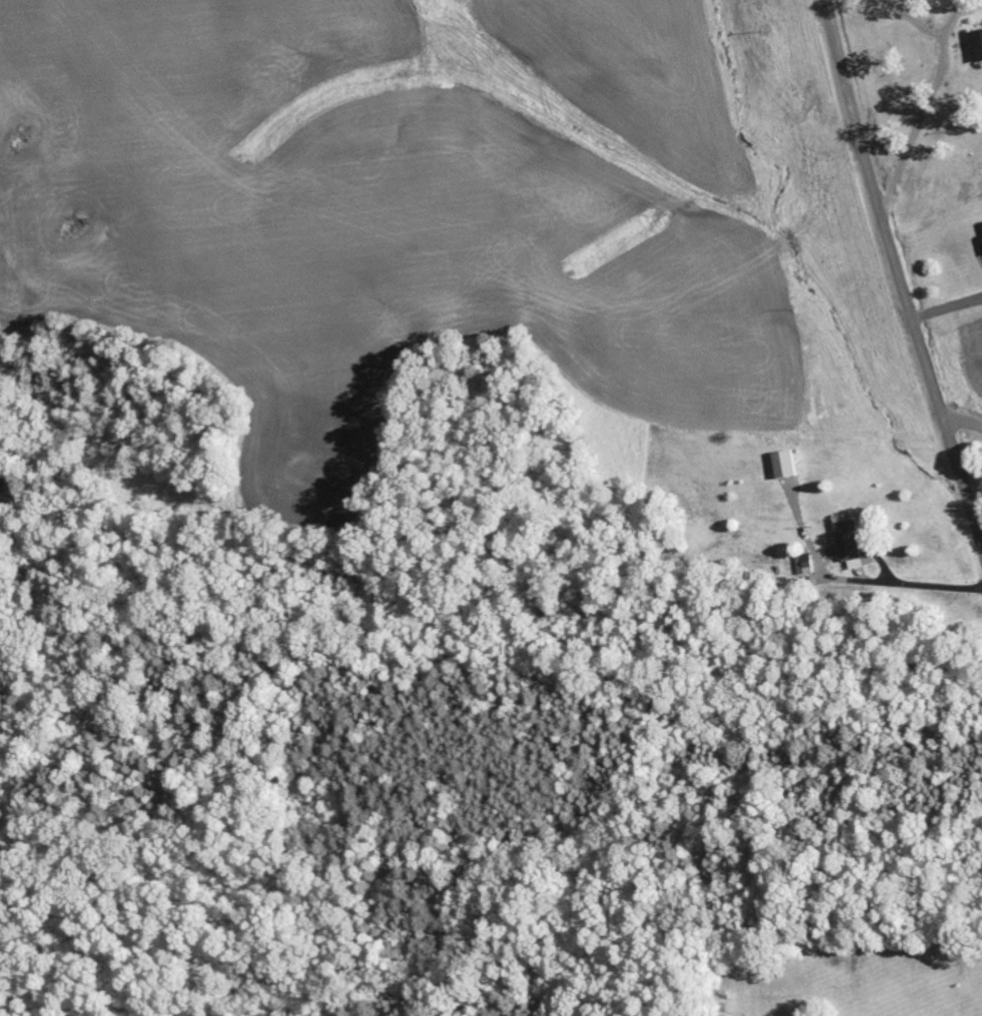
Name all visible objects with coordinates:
building: (978, 44)
road: (899, 278)
road: (961, 419)
building: (787, 464)
building: (851, 544)
building: (806, 564)

